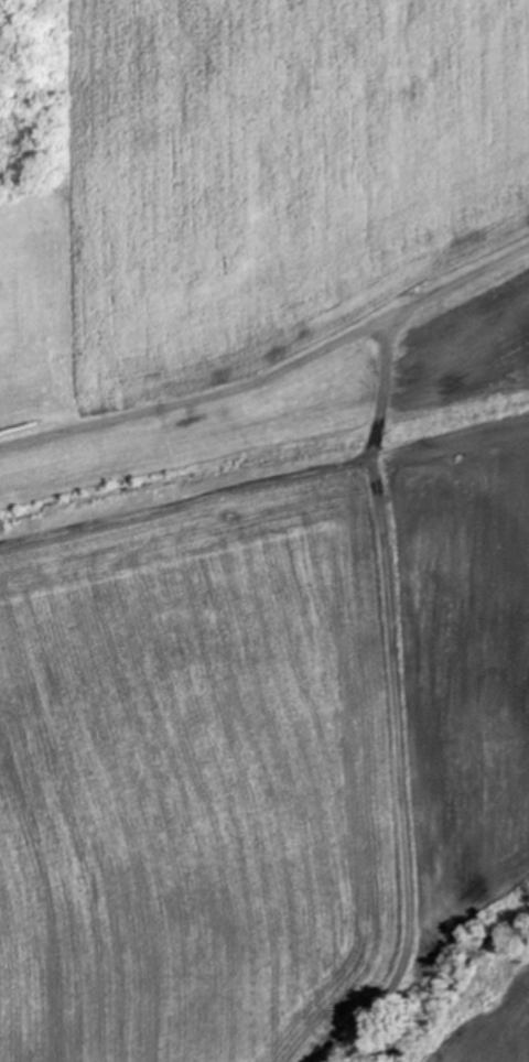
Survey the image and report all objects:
road: (273, 373)
crop: (268, 538)
road: (395, 776)

